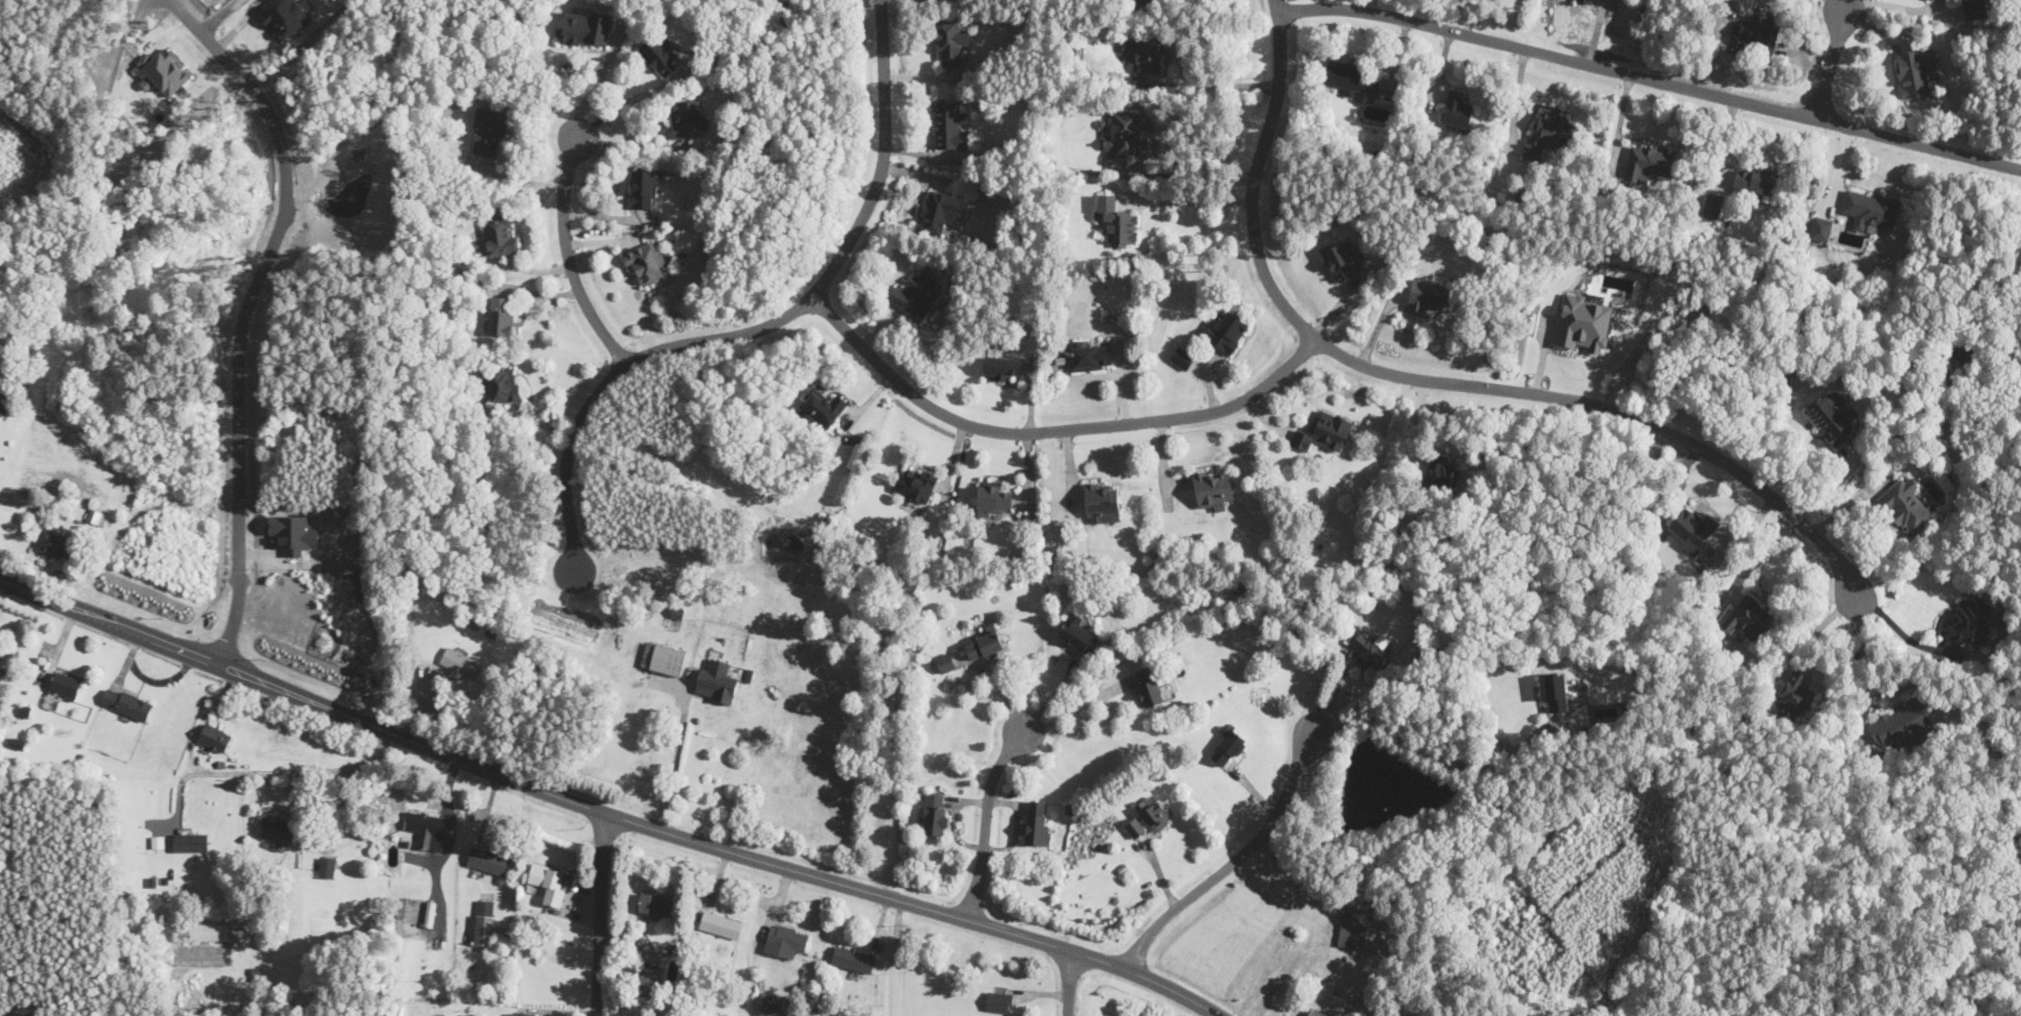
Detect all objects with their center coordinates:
building: (1586, 1)
road: (1275, 5)
road: (1843, 5)
road: (1895, 5)
building: (1976, 8)
building: (586, 27)
building: (1758, 33)
building: (950, 40)
building: (661, 55)
building: (1149, 55)
road: (1831, 64)
building: (1916, 70)
building: (164, 72)
building: (1352, 78)
road: (1650, 78)
road: (599, 80)
road: (1210, 85)
building: (1457, 108)
building: (687, 118)
building: (949, 125)
building: (489, 131)
building: (1549, 133)
building: (1125, 134)
building: (1648, 161)
road: (1197, 174)
building: (1755, 179)
road: (519, 180)
building: (646, 188)
road: (1188, 202)
building: (1713, 204)
building: (1870, 209)
building: (938, 211)
building: (1117, 220)
building: (1820, 228)
building: (498, 237)
road: (567, 249)
building: (1342, 259)
building: (645, 263)
building: (916, 293)
building: (1432, 294)
road: (253, 314)
building: (502, 315)
building: (1584, 322)
road: (766, 324)
building: (1226, 329)
building: (1964, 352)
building: (1090, 356)
building: (1182, 357)
building: (1003, 368)
road: (1442, 381)
building: (501, 385)
building: (9, 404)
building: (821, 408)
building: (1832, 417)
road: (1053, 429)
building: (1324, 430)
building: (39, 438)
building: (1441, 472)
building: (915, 483)
building: (1212, 489)
building: (992, 496)
building: (1101, 502)
building: (1905, 504)
building: (97, 516)
building: (1691, 528)
building: (55, 544)
road: (1762, 556)
building: (1747, 617)
building: (1969, 621)
road: (1818, 627)
road: (1898, 630)
building: (1078, 633)
building: (985, 643)
road: (1862, 644)
building: (1370, 648)
building: (668, 659)
building: (459, 662)
building: (946, 662)
building: (2, 673)
building: (717, 681)
building: (65, 685)
building: (1148, 685)
road: (1335, 686)
building: (1556, 690)
road: (1054, 693)
building: (1795, 694)
building: (127, 702)
road: (1077, 707)
road: (202, 719)
building: (1898, 722)
building: (215, 738)
building: (1229, 748)
road: (1437, 751)
road: (676, 761)
road: (267, 771)
road: (605, 812)
building: (1153, 812)
building: (935, 813)
road: (986, 821)
building: (1038, 822)
building: (278, 827)
building: (1136, 827)
building: (427, 828)
building: (190, 841)
road: (448, 844)
building: (488, 860)
road: (1234, 860)
building: (327, 867)
building: (550, 882)
building: (656, 903)
building: (421, 908)
road: (600, 913)
building: (485, 922)
building: (721, 924)
building: (1353, 926)
building: (786, 940)
building: (853, 958)
building: (653, 976)
road: (1070, 984)
road: (1371, 988)
building: (999, 1001)
building: (776, 1006)
building: (1321, 1011)
building: (521, 1013)

